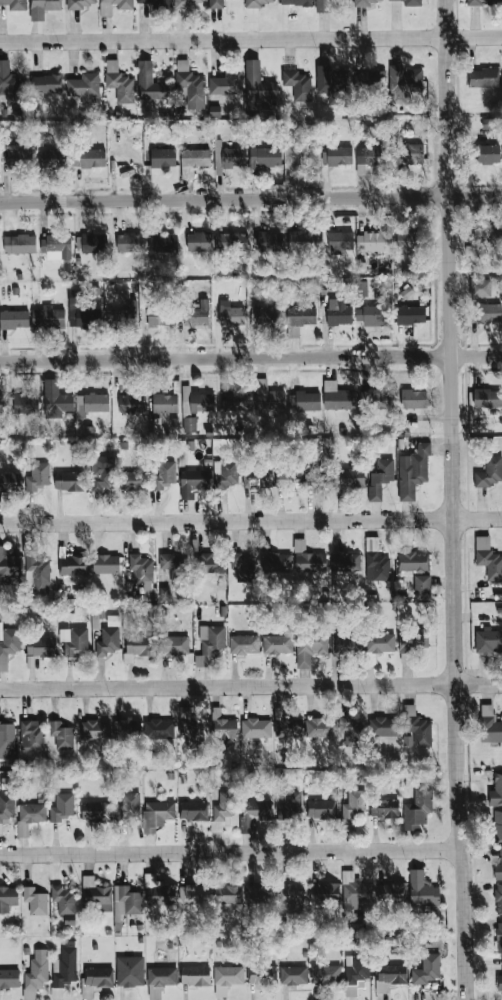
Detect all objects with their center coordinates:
building: (152, 2)
building: (258, 2)
building: (295, 2)
building: (366, 2)
building: (481, 2)
building: (81, 3)
building: (215, 3)
building: (412, 3)
building: (15, 4)
building: (326, 4)
building: (113, 6)
building: (42, 8)
road: (250, 37)
building: (482, 77)
building: (368, 79)
building: (147, 81)
building: (331, 81)
building: (119, 82)
building: (46, 83)
building: (226, 83)
building: (404, 83)
building: (297, 84)
building: (189, 86)
building: (84, 87)
building: (257, 87)
building: (491, 122)
building: (411, 153)
building: (486, 154)
building: (339, 155)
building: (368, 155)
building: (230, 156)
building: (17, 157)
building: (89, 157)
building: (162, 157)
building: (194, 157)
building: (53, 158)
building: (265, 158)
road: (250, 197)
building: (303, 237)
building: (484, 237)
building: (128, 241)
building: (197, 241)
building: (230, 241)
building: (269, 241)
building: (340, 241)
building: (371, 241)
building: (407, 241)
building: (93, 243)
building: (164, 243)
building: (19, 244)
building: (56, 247)
building: (480, 287)
building: (360, 288)
building: (81, 311)
building: (338, 312)
building: (488, 312)
building: (198, 313)
building: (121, 314)
building: (230, 314)
building: (410, 314)
building: (371, 315)
building: (157, 316)
building: (267, 316)
building: (301, 316)
building: (47, 317)
building: (14, 319)
road: (452, 343)
road: (250, 356)
building: (268, 396)
building: (337, 396)
building: (487, 397)
building: (413, 398)
building: (55, 399)
building: (375, 399)
building: (234, 400)
building: (201, 401)
building: (304, 401)
building: (95, 402)
building: (164, 402)
building: (1, 403)
building: (25, 403)
building: (131, 404)
building: (189, 424)
building: (412, 471)
building: (489, 471)
building: (101, 472)
building: (164, 474)
building: (225, 474)
building: (38, 476)
building: (287, 477)
building: (349, 477)
building: (380, 478)
building: (69, 480)
building: (133, 480)
building: (257, 480)
building: (10, 482)
building: (192, 482)
road: (251, 523)
building: (488, 558)
building: (308, 559)
building: (375, 561)
building: (413, 561)
building: (278, 562)
building: (344, 562)
building: (208, 563)
building: (106, 564)
building: (172, 564)
building: (6, 565)
building: (73, 565)
building: (242, 565)
building: (141, 570)
building: (36, 572)
building: (421, 587)
building: (73, 640)
building: (488, 640)
building: (107, 641)
building: (414, 641)
building: (379, 642)
building: (209, 644)
building: (244, 644)
building: (277, 644)
building: (344, 644)
building: (8, 645)
building: (173, 645)
building: (138, 646)
building: (310, 646)
building: (40, 647)
road: (479, 686)
road: (228, 689)
building: (222, 724)
building: (489, 725)
building: (383, 726)
building: (287, 727)
building: (319, 727)
building: (255, 728)
building: (415, 728)
building: (126, 729)
building: (158, 729)
building: (189, 729)
building: (94, 730)
building: (348, 730)
building: (31, 734)
building: (61, 735)
building: (6, 738)
building: (496, 790)
building: (354, 804)
building: (289, 805)
building: (6, 806)
building: (128, 806)
building: (61, 807)
building: (321, 808)
building: (384, 808)
building: (417, 808)
building: (193, 810)
building: (222, 811)
building: (95, 812)
building: (253, 813)
building: (156, 814)
building: (29, 817)
building: (497, 825)
road: (463, 843)
road: (232, 854)
building: (498, 866)
building: (421, 889)
building: (159, 891)
building: (355, 891)
building: (258, 893)
building: (324, 893)
building: (391, 893)
building: (193, 894)
building: (227, 894)
building: (96, 896)
building: (7, 897)
building: (498, 898)
building: (63, 899)
building: (291, 899)
building: (126, 900)
building: (35, 901)
building: (499, 937)
building: (64, 969)
building: (426, 969)
building: (130, 971)
building: (36, 972)
building: (355, 972)
building: (262, 973)
building: (293, 974)
building: (325, 974)
building: (195, 975)
building: (389, 975)
building: (98, 976)
building: (162, 976)
building: (9, 978)
building: (226, 978)
building: (499, 982)
building: (154, 992)

